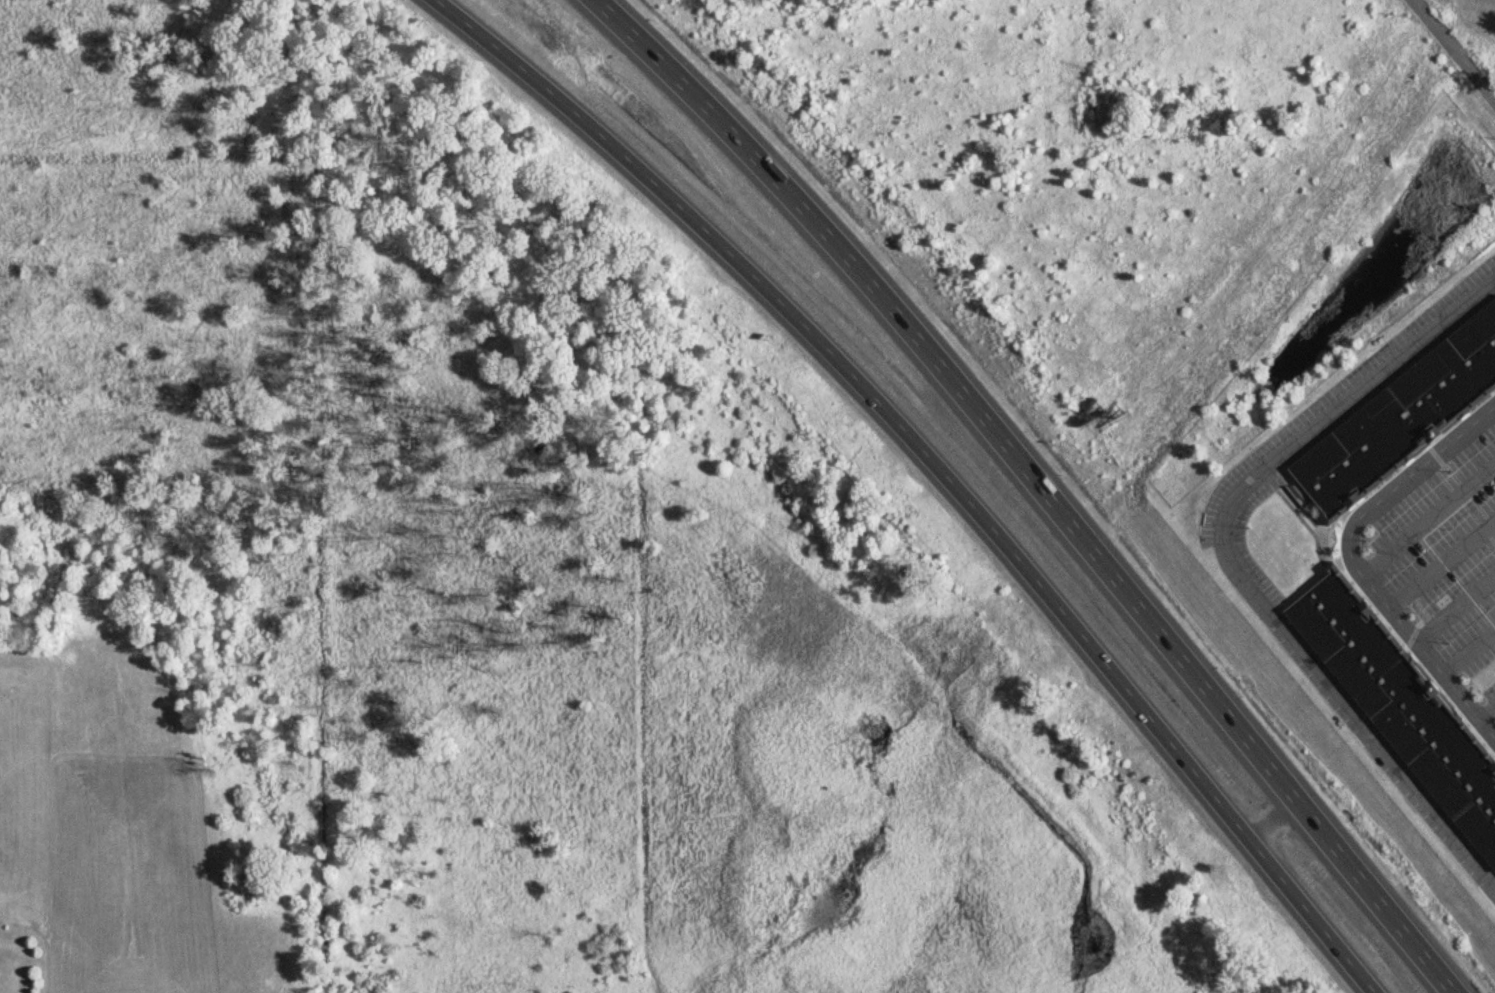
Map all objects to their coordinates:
road: (1455, 48)
building: (1402, 415)
road: (940, 460)
road: (1047, 485)
road: (1431, 517)
road: (1355, 554)
road: (1446, 559)
road: (1233, 560)
road: (1460, 606)
road: (1472, 647)
building: (1403, 700)
road: (1490, 705)
road: (1277, 818)
building: (250, 878)

